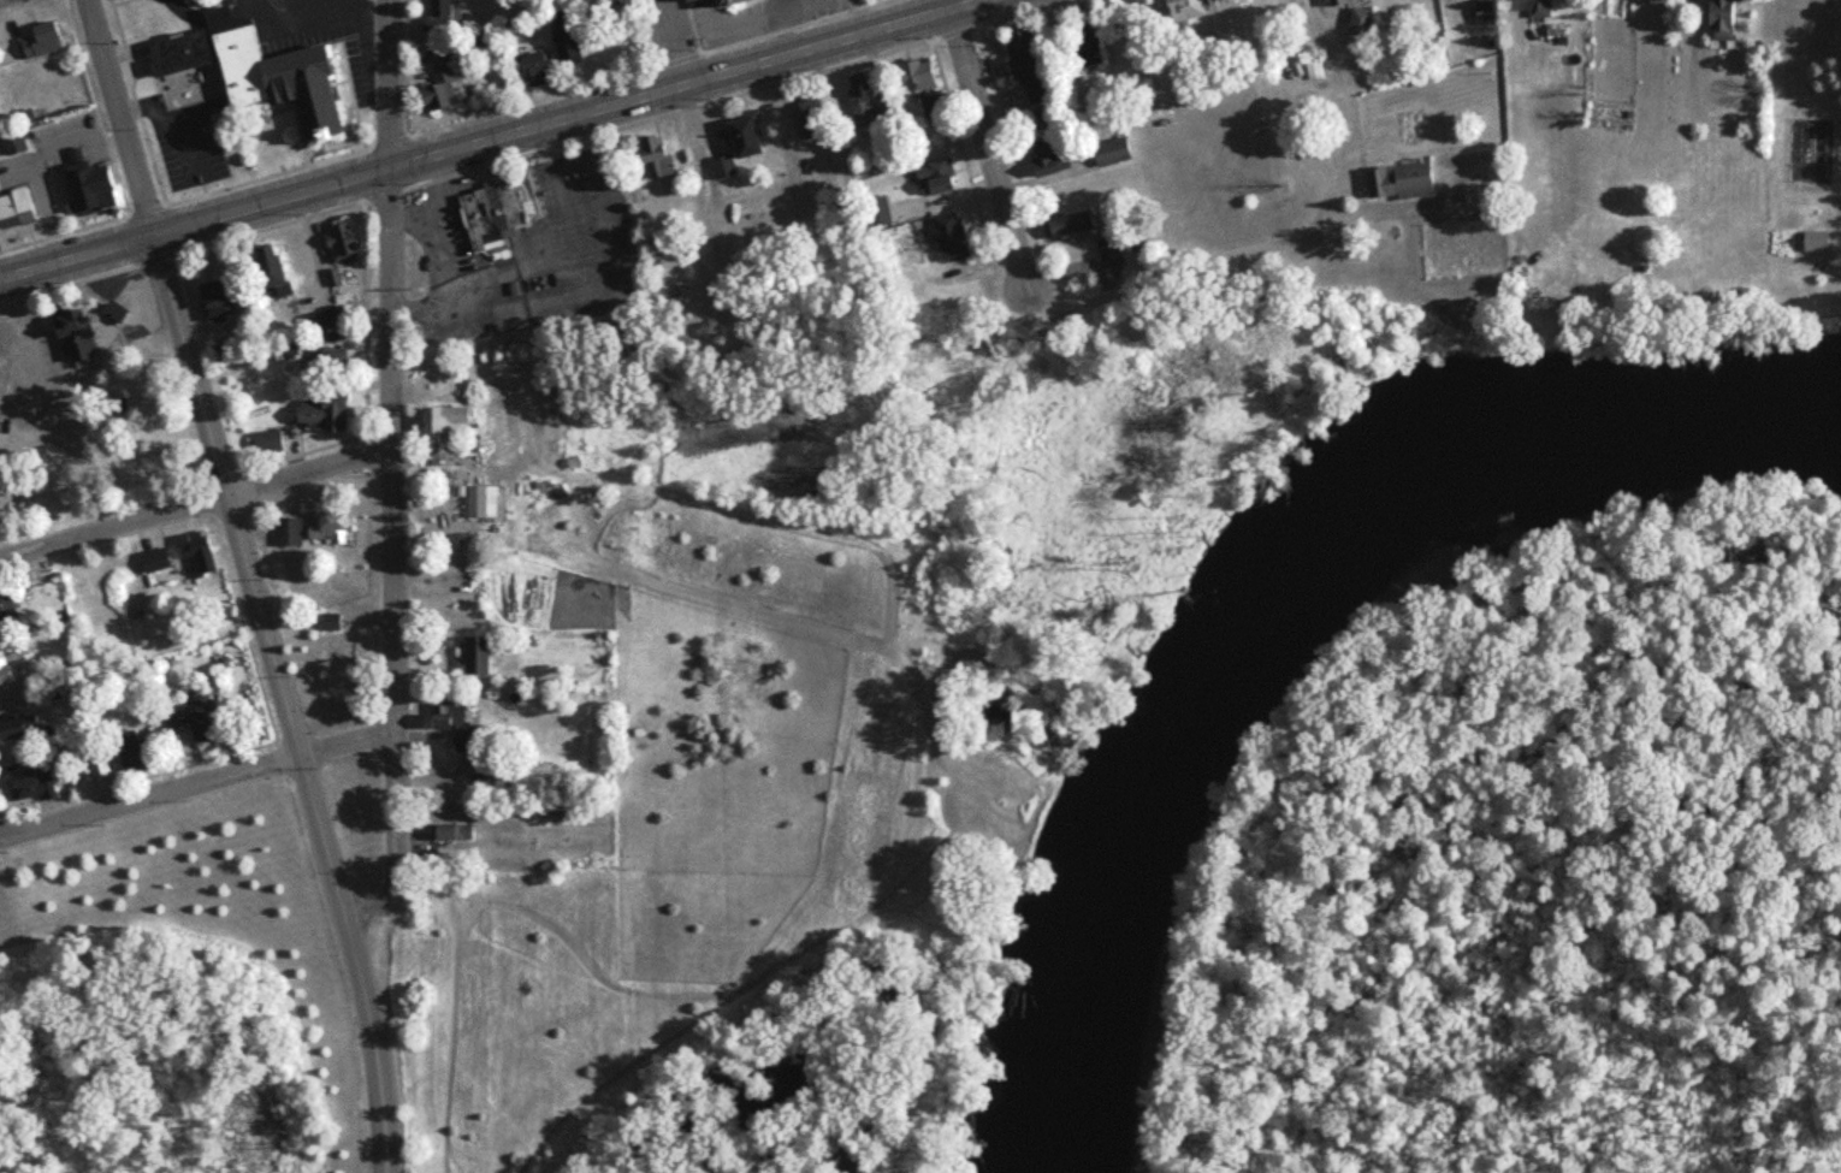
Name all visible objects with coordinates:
building: (681, 0)
building: (723, 2)
building: (1337, 2)
building: (599, 4)
road: (959, 4)
building: (1527, 7)
building: (1184, 10)
building: (1480, 13)
road: (313, 14)
building: (436, 14)
building: (1717, 20)
building: (1357, 22)
building: (42, 41)
road: (673, 42)
building: (1083, 45)
building: (563, 47)
building: (1022, 54)
building: (1312, 69)
building: (531, 70)
building: (264, 71)
building: (911, 76)
road: (386, 84)
building: (436, 87)
building: (859, 100)
building: (1038, 111)
road: (119, 118)
building: (812, 119)
road: (492, 138)
building: (17, 143)
building: (735, 146)
building: (1107, 153)
building: (651, 155)
road: (988, 155)
building: (1043, 155)
building: (933, 177)
building: (1396, 178)
building: (95, 185)
road: (558, 186)
road: (412, 207)
building: (18, 209)
building: (874, 213)
building: (487, 214)
building: (1066, 225)
building: (948, 239)
building: (1811, 243)
building: (348, 245)
building: (1107, 253)
road: (1190, 261)
road: (537, 263)
road: (449, 266)
building: (272, 271)
road: (617, 273)
building: (224, 298)
building: (118, 314)
building: (325, 322)
building: (81, 338)
building: (232, 353)
building: (1, 360)
building: (339, 361)
road: (1202, 365)
building: (328, 414)
building: (450, 423)
building: (481, 502)
road: (196, 504)
building: (336, 528)
building: (291, 533)
building: (201, 553)
road: (392, 558)
building: (159, 562)
road: (250, 577)
building: (10, 609)
river: (1301, 621)
building: (332, 623)
building: (484, 657)
building: (342, 658)
building: (14, 668)
building: (196, 718)
building: (460, 724)
building: (24, 729)
building: (137, 752)
building: (100, 763)
road: (196, 783)
building: (37, 786)
building: (460, 833)
road: (373, 1044)

